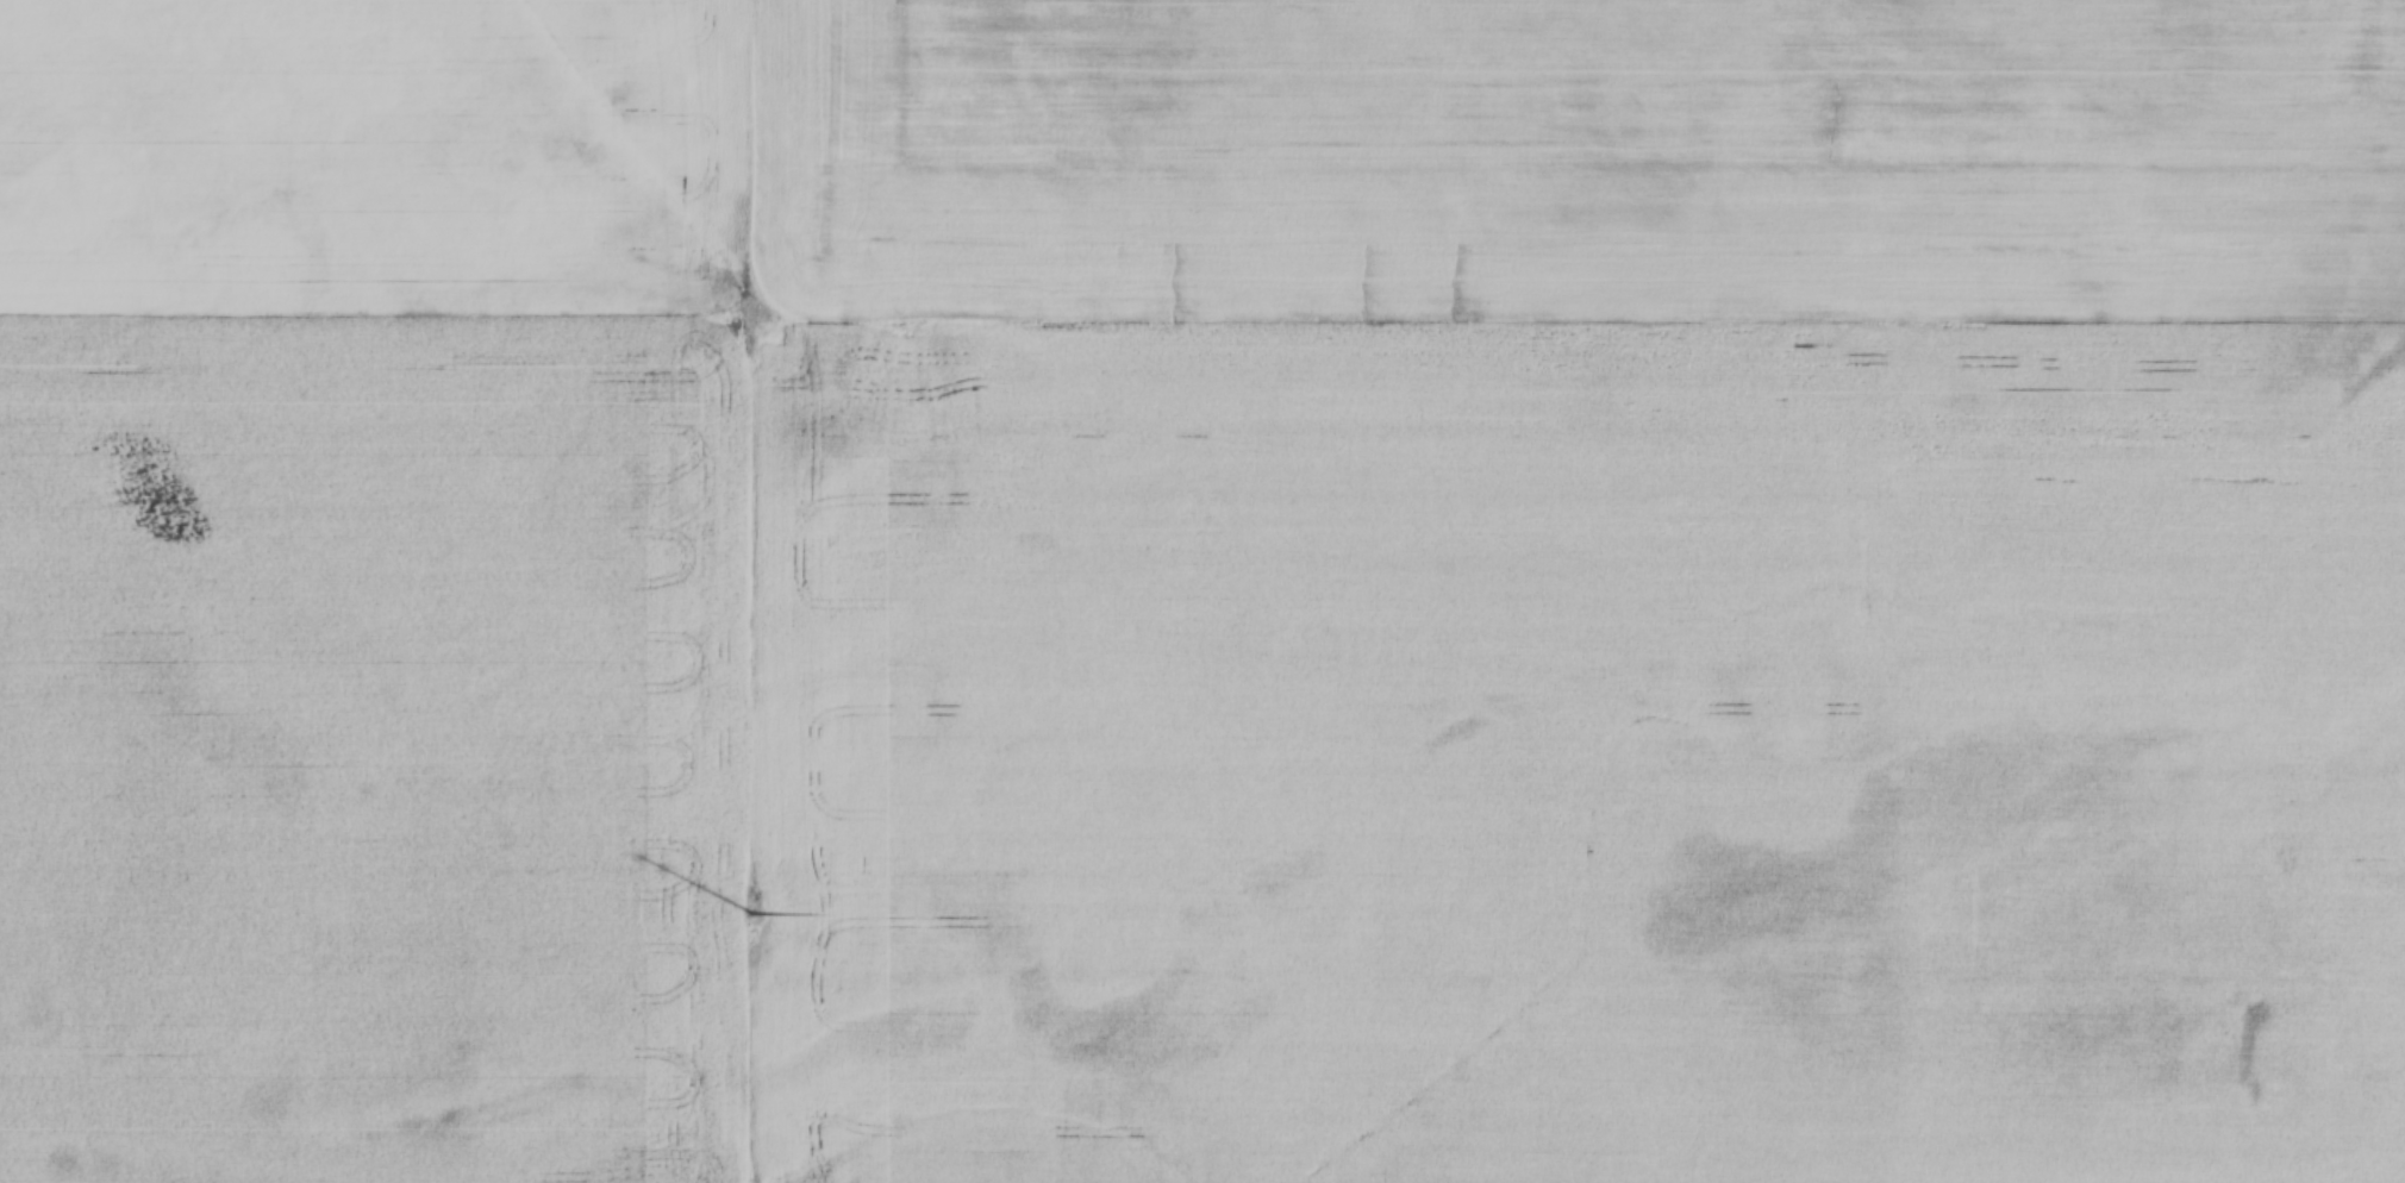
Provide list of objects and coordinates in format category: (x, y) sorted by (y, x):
power tower: (754, 909)

